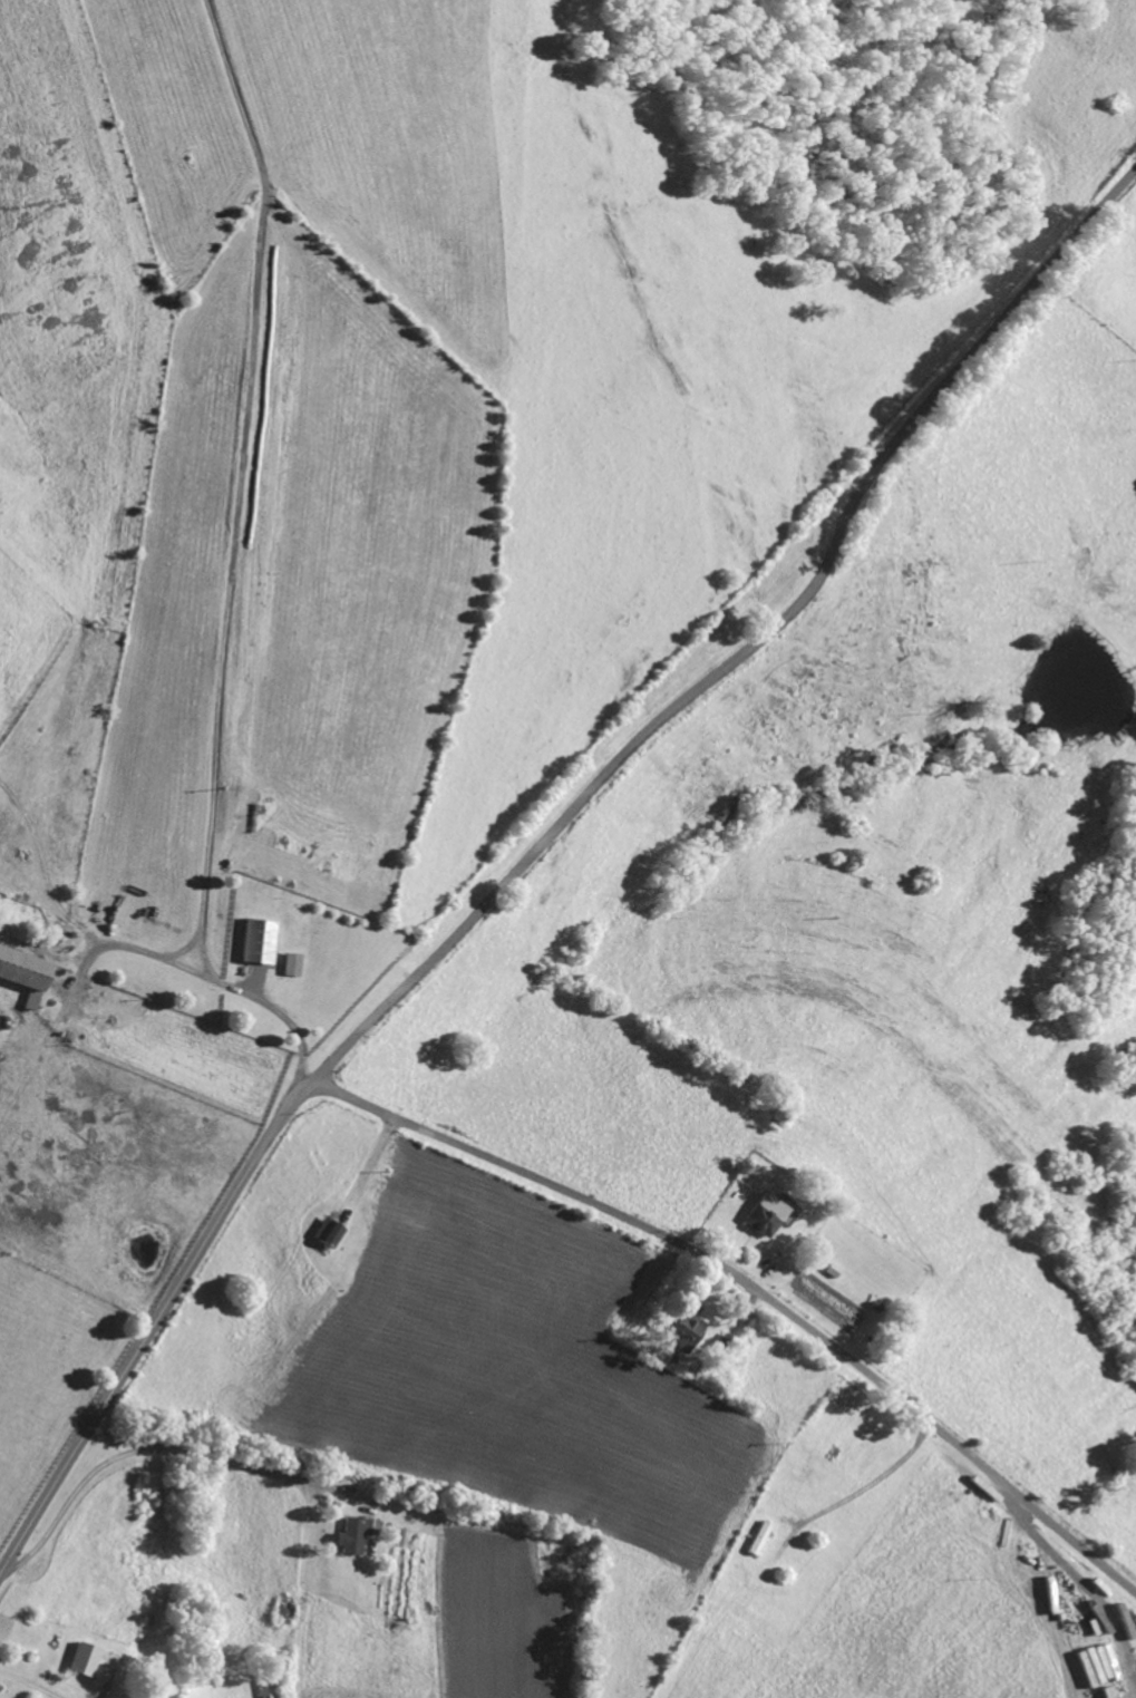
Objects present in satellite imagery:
road: (746, 639)
building: (263, 941)
building: (294, 964)
building: (30, 973)
road: (223, 984)
building: (765, 1216)
building: (332, 1232)
road: (754, 1285)
road: (154, 1322)
building: (688, 1335)
road: (159, 1447)
building: (357, 1535)
building: (88, 1659)
road: (31, 1682)

